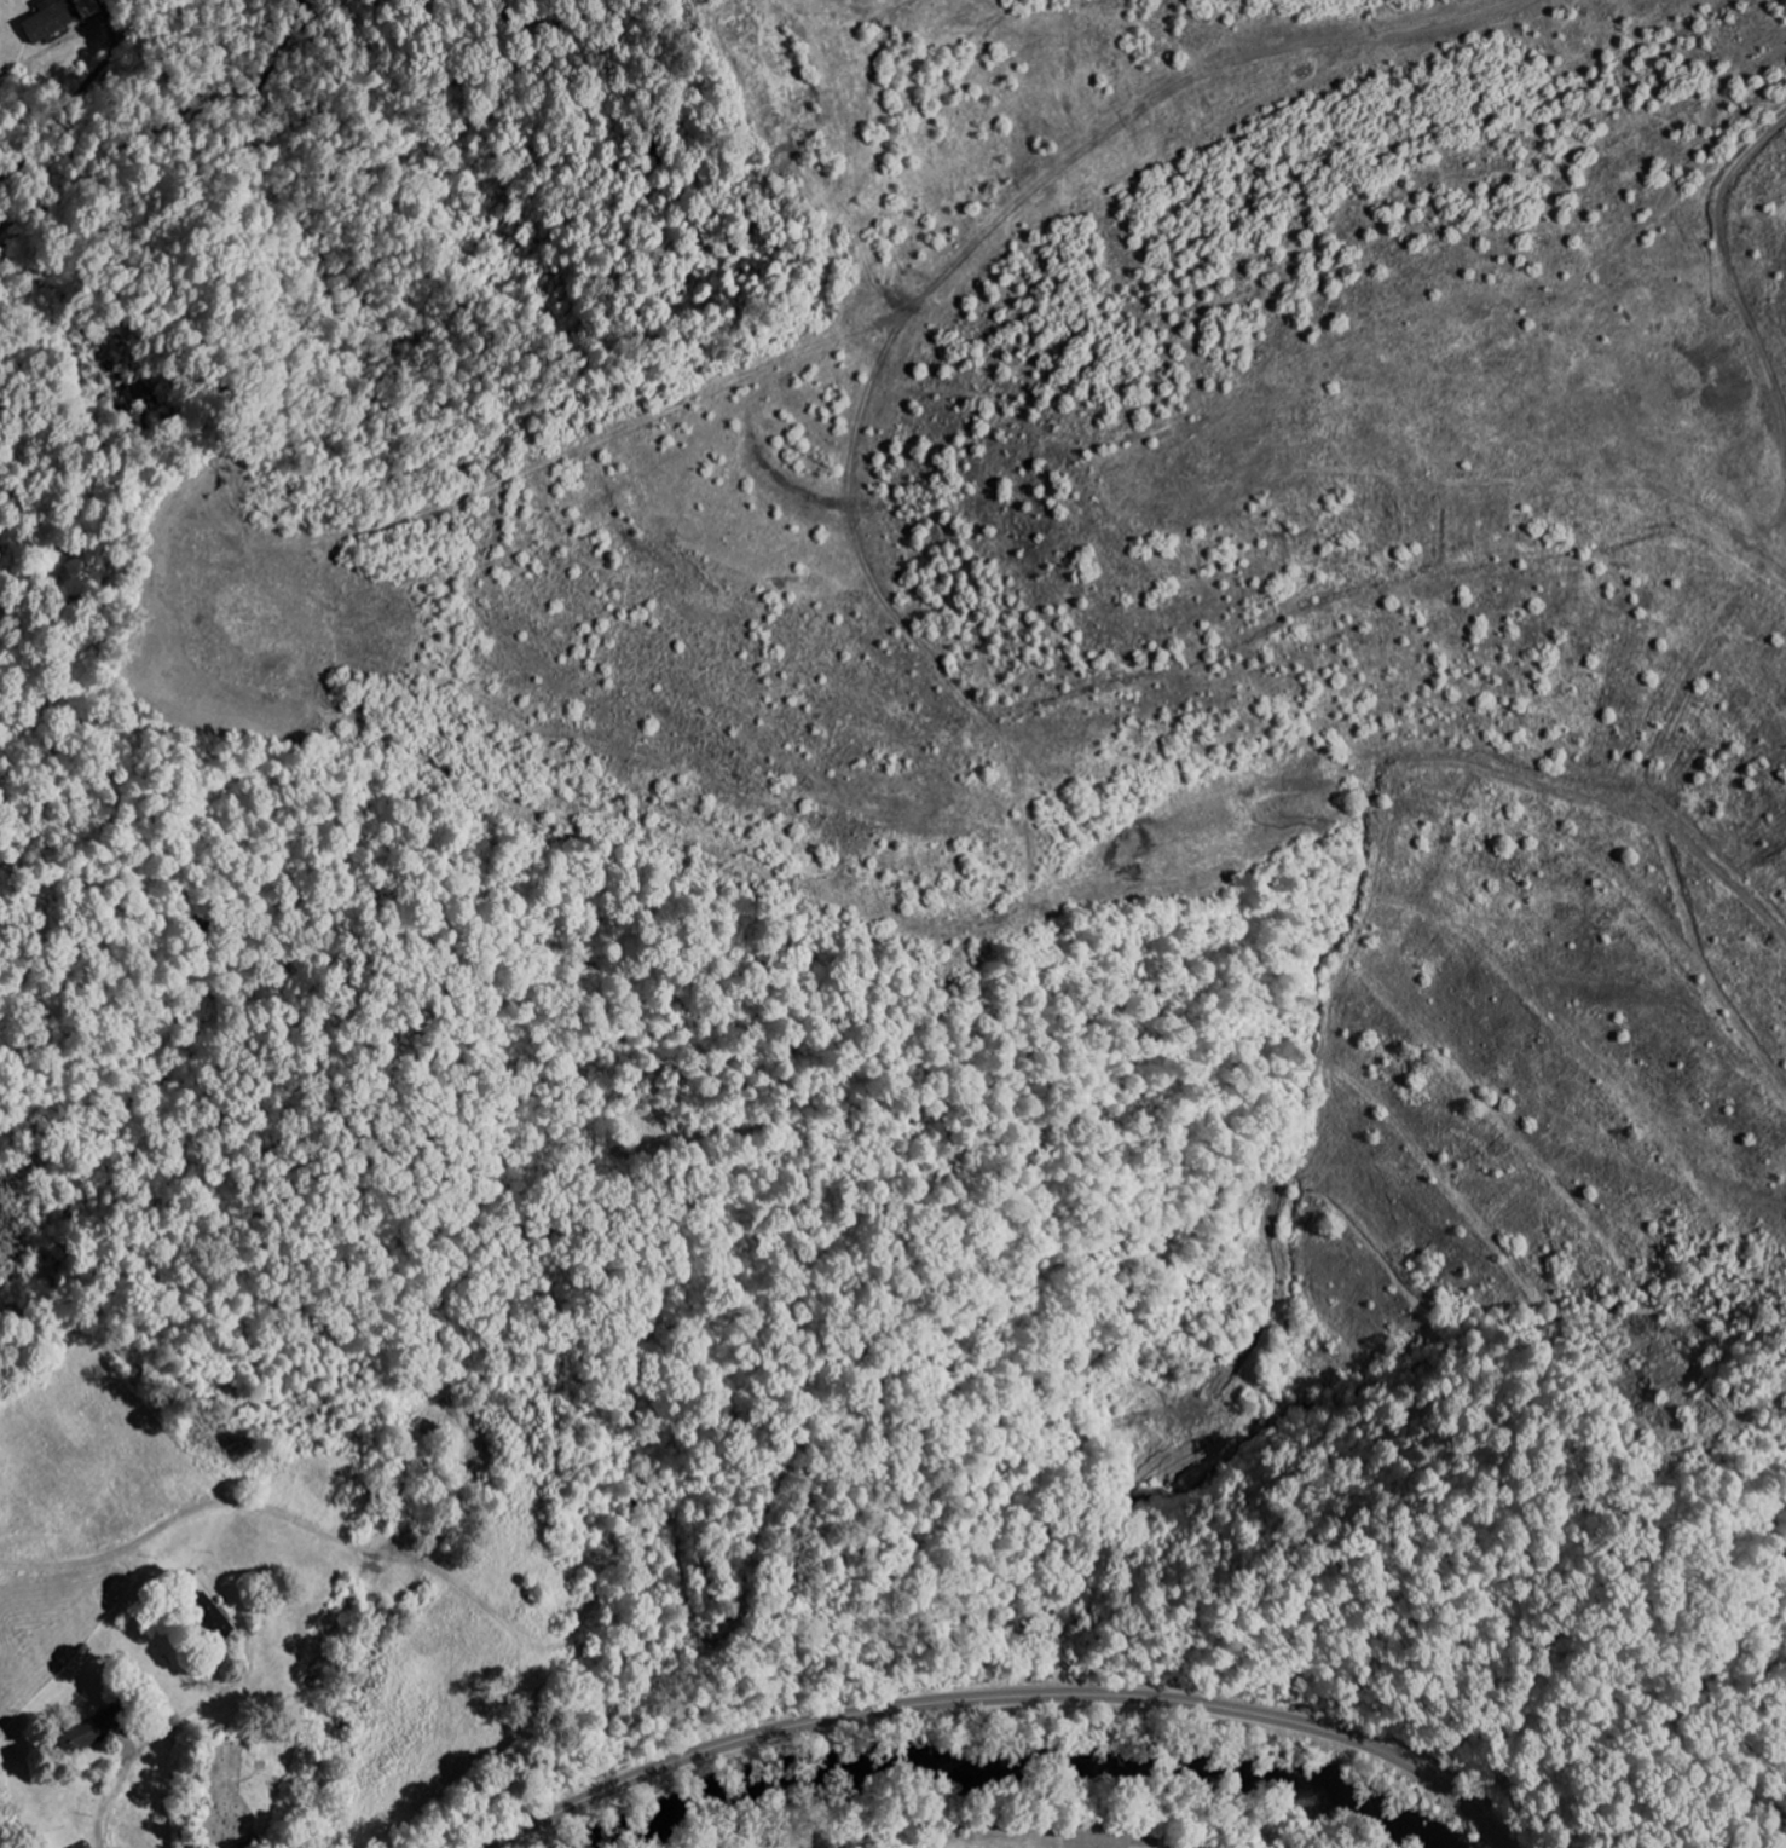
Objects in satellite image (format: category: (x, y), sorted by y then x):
building: (89, 8)
building: (53, 19)
quarry: (1112, 699)
road: (1007, 1698)
building: (91, 1734)
road: (158, 1742)
park: (239, 1784)

